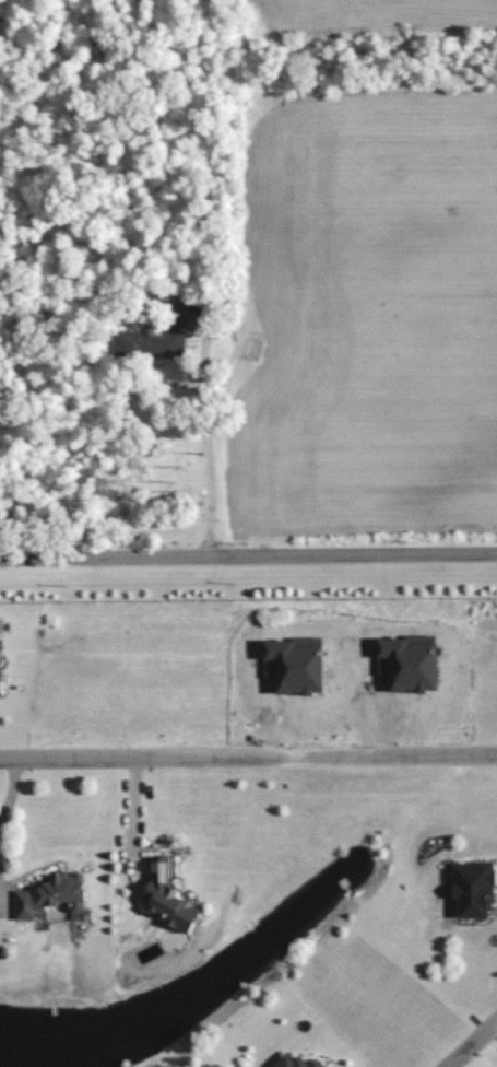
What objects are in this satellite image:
building: (158, 337)
road: (208, 455)
road: (248, 556)
building: (411, 666)
building: (298, 667)
building: (0, 672)
road: (248, 755)
road: (8, 802)
road: (132, 814)
building: (475, 888)
building: (54, 894)
building: (170, 895)
road: (472, 1044)
building: (298, 1062)

